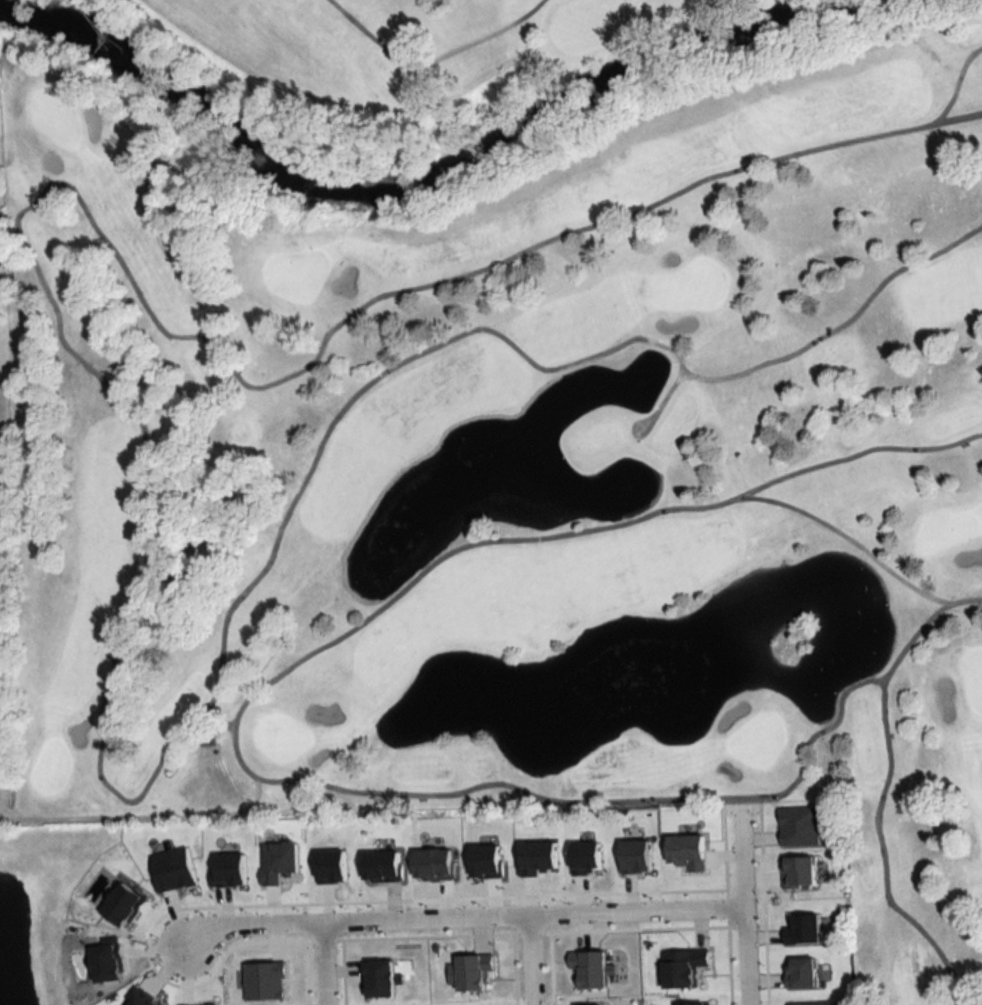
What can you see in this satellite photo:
park: (388, 64)
road: (948, 103)
road: (839, 324)
road: (682, 371)
park: (517, 474)
road: (748, 496)
road: (146, 510)
road: (224, 723)
road: (336, 787)
road: (882, 853)
road: (747, 903)
road: (466, 917)
road: (534, 959)
road: (323, 965)

